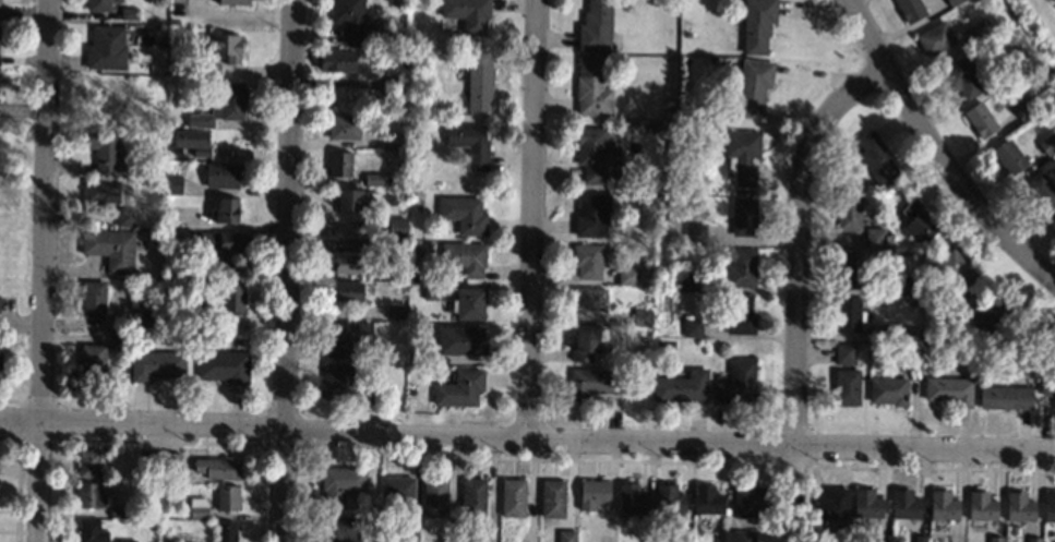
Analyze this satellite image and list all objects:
building: (233, 2)
building: (952, 2)
building: (98, 5)
building: (910, 10)
building: (130, 13)
building: (467, 13)
building: (351, 20)
building: (756, 25)
building: (595, 26)
building: (133, 28)
building: (979, 31)
building: (934, 38)
building: (417, 39)
building: (398, 41)
building: (227, 47)
building: (106, 48)
building: (336, 61)
building: (392, 61)
building: (206, 69)
building: (961, 76)
building: (479, 82)
building: (753, 86)
building: (592, 87)
building: (223, 106)
building: (1022, 109)
building: (980, 120)
building: (169, 123)
building: (345, 127)
building: (132, 135)
building: (392, 141)
building: (191, 142)
building: (1047, 143)
building: (469, 144)
building: (103, 149)
building: (591, 154)
road: (935, 154)
building: (742, 156)
building: (875, 157)
building: (1008, 157)
building: (410, 159)
building: (339, 164)
building: (223, 176)
building: (847, 178)
building: (373, 180)
building: (172, 184)
building: (156, 189)
building: (1040, 190)
building: (100, 191)
building: (412, 197)
building: (355, 198)
building: (226, 210)
building: (848, 210)
road: (41, 213)
building: (169, 214)
building: (464, 214)
building: (591, 215)
building: (125, 217)
building: (743, 217)
road: (536, 218)
building: (916, 221)
building: (1054, 224)
building: (397, 228)
building: (694, 232)
building: (877, 238)
building: (223, 241)
building: (365, 244)
building: (110, 249)
building: (465, 257)
building: (587, 261)
building: (348, 264)
building: (956, 266)
building: (183, 267)
building: (740, 267)
building: (853, 269)
road: (288, 270)
building: (413, 275)
building: (626, 276)
building: (686, 282)
building: (911, 286)
road: (799, 288)
building: (346, 291)
building: (432, 291)
building: (232, 299)
building: (589, 299)
building: (642, 299)
building: (93, 300)
building: (927, 300)
building: (470, 303)
building: (992, 310)
building: (396, 312)
building: (739, 314)
building: (848, 314)
building: (151, 315)
building: (642, 317)
road: (20, 324)
building: (692, 328)
building: (891, 332)
building: (981, 334)
building: (950, 335)
building: (347, 339)
building: (120, 340)
building: (460, 341)
building: (584, 345)
building: (844, 353)
building: (910, 353)
building: (420, 357)
building: (93, 364)
building: (155, 365)
building: (983, 365)
building: (223, 366)
building: (592, 383)
building: (736, 383)
building: (344, 385)
building: (1047, 385)
building: (681, 387)
building: (846, 387)
building: (460, 388)
building: (888, 390)
building: (949, 390)
building: (1006, 398)
road: (143, 429)
road: (670, 439)
building: (152, 460)
building: (169, 461)
building: (89, 462)
building: (218, 468)
road: (35, 483)
building: (340, 483)
building: (397, 490)
building: (592, 494)
building: (91, 496)
building: (473, 496)
building: (434, 497)
building: (513, 497)
building: (227, 498)
building: (552, 498)
building: (669, 499)
building: (631, 501)
building: (707, 501)
building: (747, 501)
building: (866, 504)
building: (832, 505)
building: (904, 505)
building: (943, 505)
building: (981, 506)
building: (375, 507)
building: (1018, 507)
building: (1048, 507)
building: (197, 508)
building: (117, 511)
building: (337, 528)
building: (91, 531)
building: (226, 532)
building: (471, 533)
building: (408, 534)
building: (566, 535)
building: (743, 535)
building: (448, 537)
building: (722, 537)
building: (878, 538)
building: (915, 538)
building: (187, 539)
building: (995, 539)
building: (1033, 539)
building: (127, 541)

